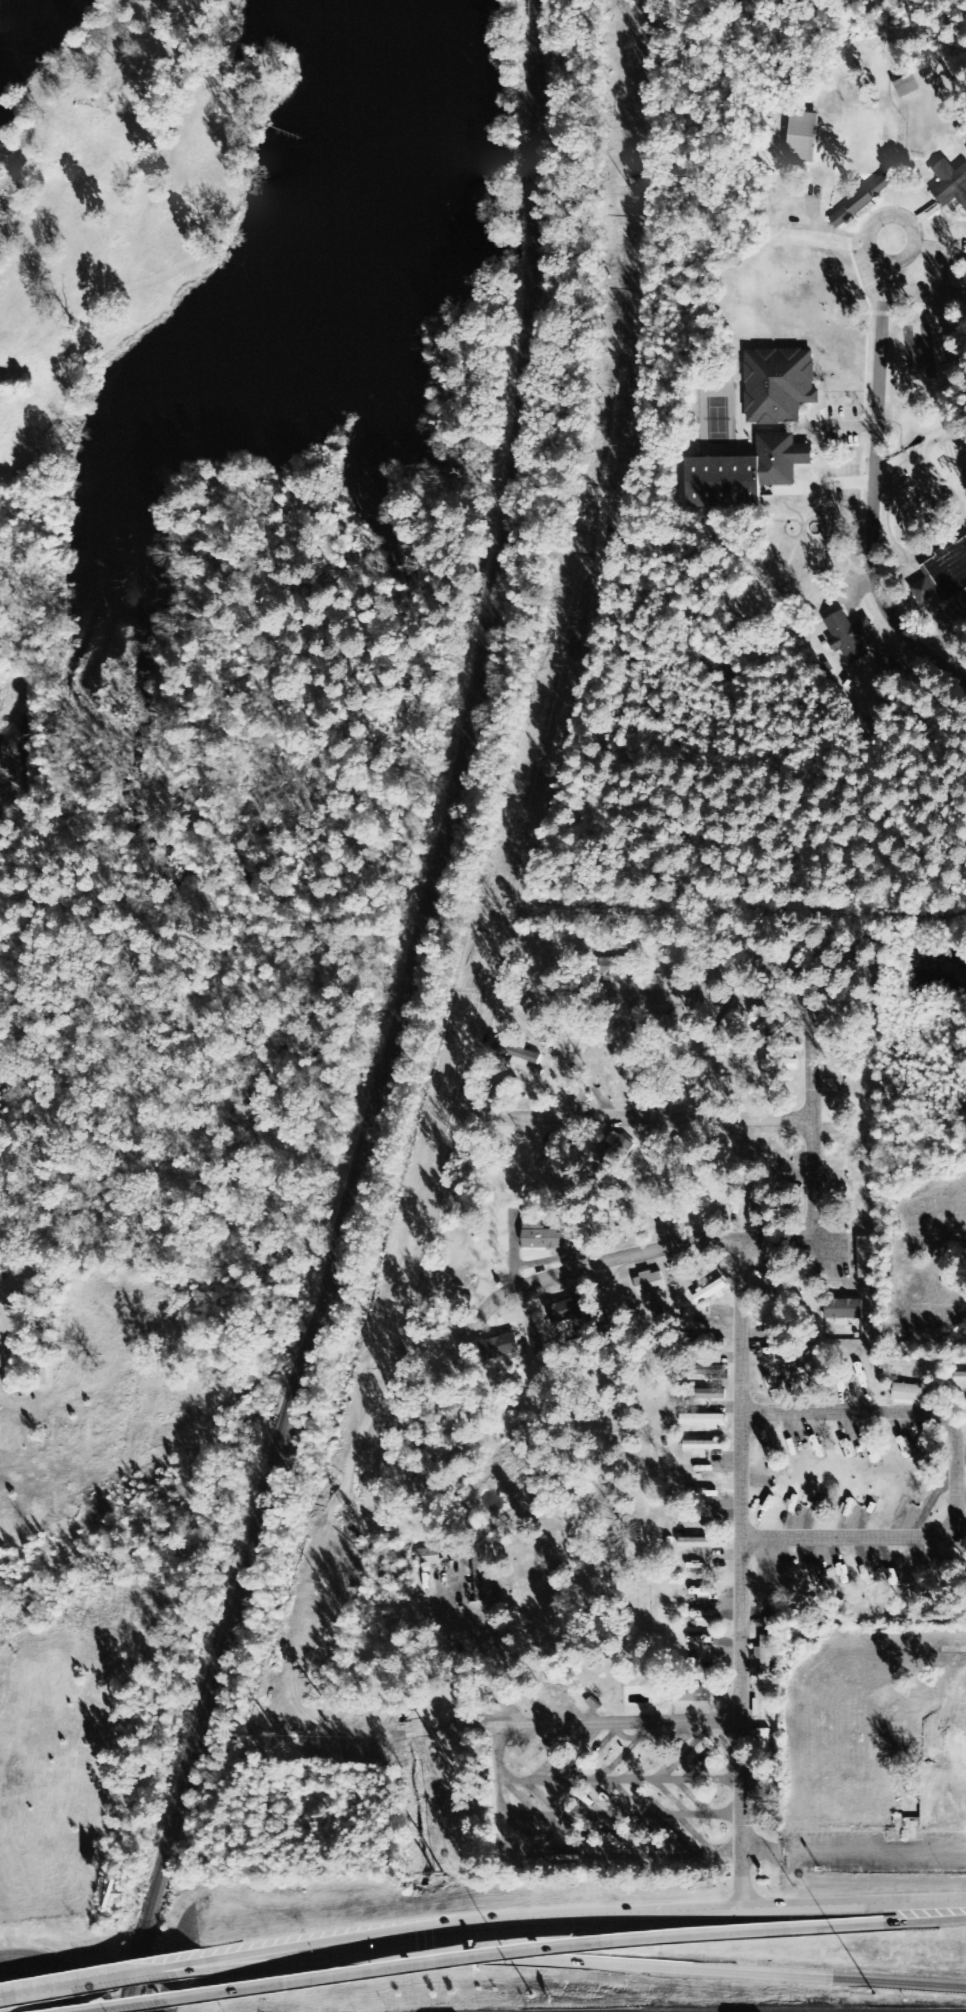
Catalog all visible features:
building: (804, 137)
building: (950, 184)
building: (863, 200)
road: (895, 218)
building: (779, 386)
building: (744, 474)
road: (875, 491)
building: (944, 575)
building: (850, 637)
road: (695, 997)
railway: (399, 1018)
building: (773, 1027)
building: (517, 1054)
building: (779, 1063)
road: (636, 1121)
building: (619, 1152)
building: (542, 1236)
building: (863, 1258)
road: (624, 1260)
road: (425, 1263)
building: (650, 1283)
building: (711, 1293)
building: (845, 1309)
building: (567, 1311)
building: (770, 1323)
building: (499, 1347)
building: (712, 1371)
building: (960, 1378)
building: (914, 1393)
building: (706, 1395)
building: (704, 1421)
road: (957, 1476)
building: (703, 1543)
building: (960, 1553)
building: (428, 1557)
road: (741, 1572)
building: (702, 1593)
building: (702, 1616)
road: (505, 1651)
building: (764, 1655)
building: (690, 1694)
road: (615, 1722)
road: (621, 1781)
building: (755, 1788)
road: (622, 1815)
road: (854, 1857)
road: (555, 1860)
road: (560, 1916)
road: (794, 1928)
road: (27, 1956)
road: (562, 1961)
road: (348, 1973)
road: (138, 1974)
road: (60, 1988)
road: (60, 1989)
street lamp: (534, 1997)
road: (0, 1998)
street lamp: (877, 1999)

